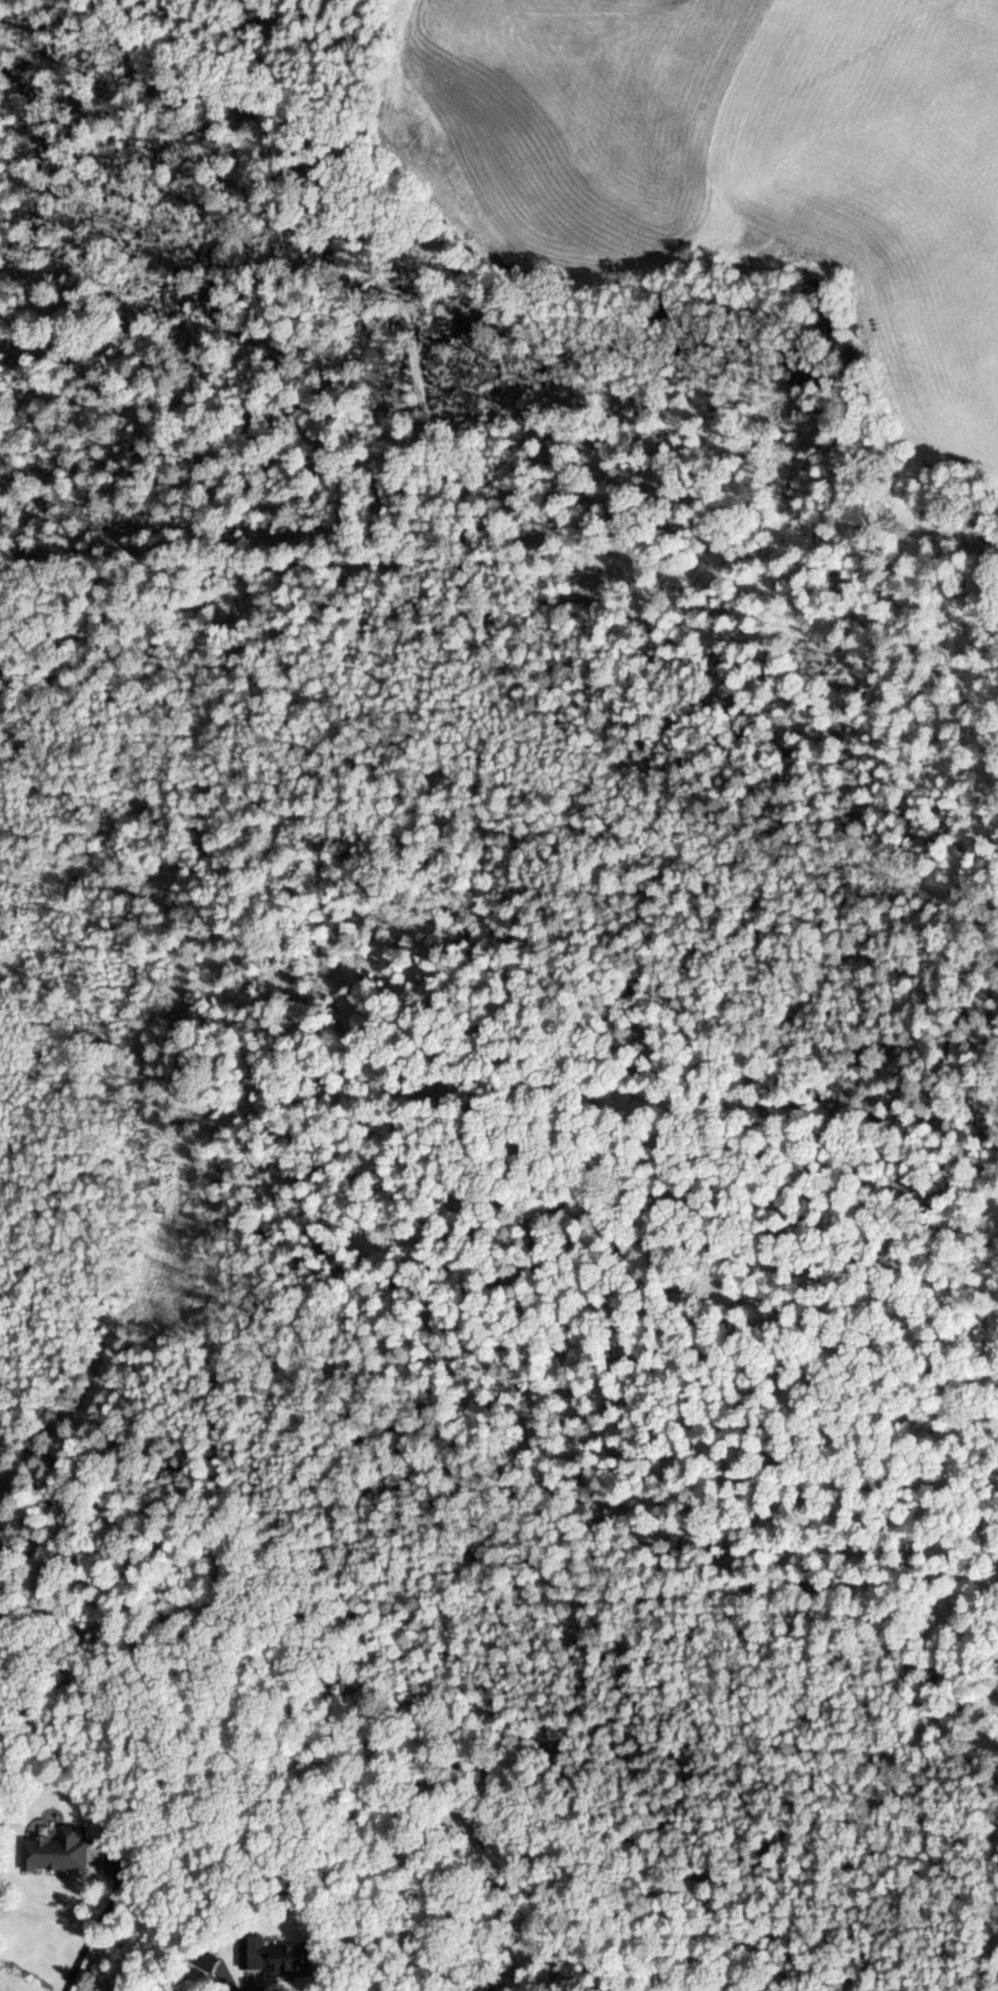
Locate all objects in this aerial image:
building: (259, 15)
building: (53, 1851)
building: (272, 1959)

